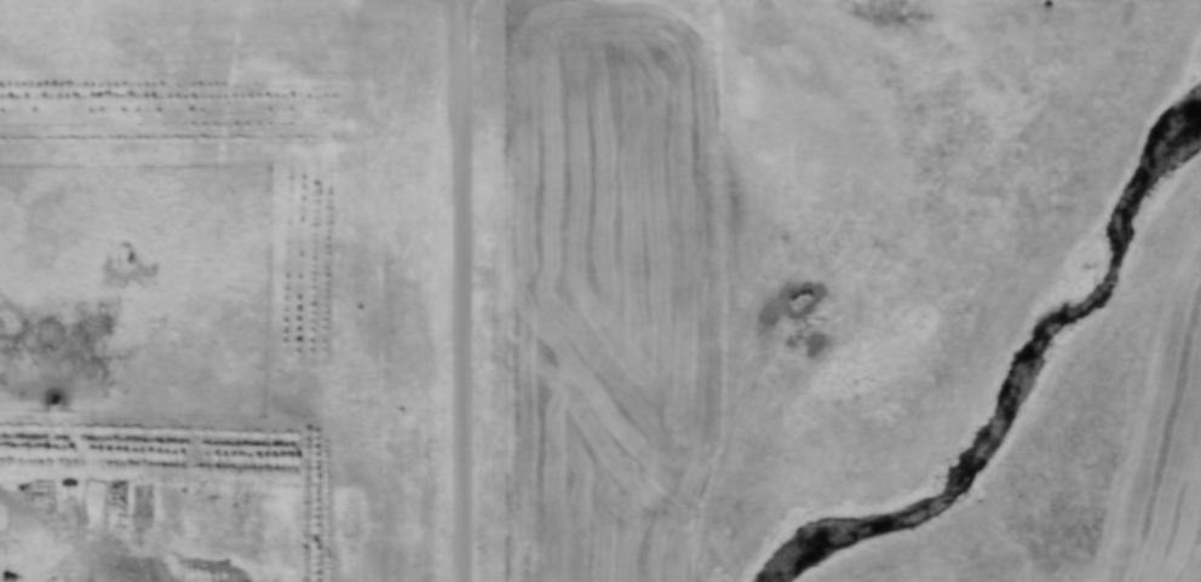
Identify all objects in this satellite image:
road: (465, 290)

